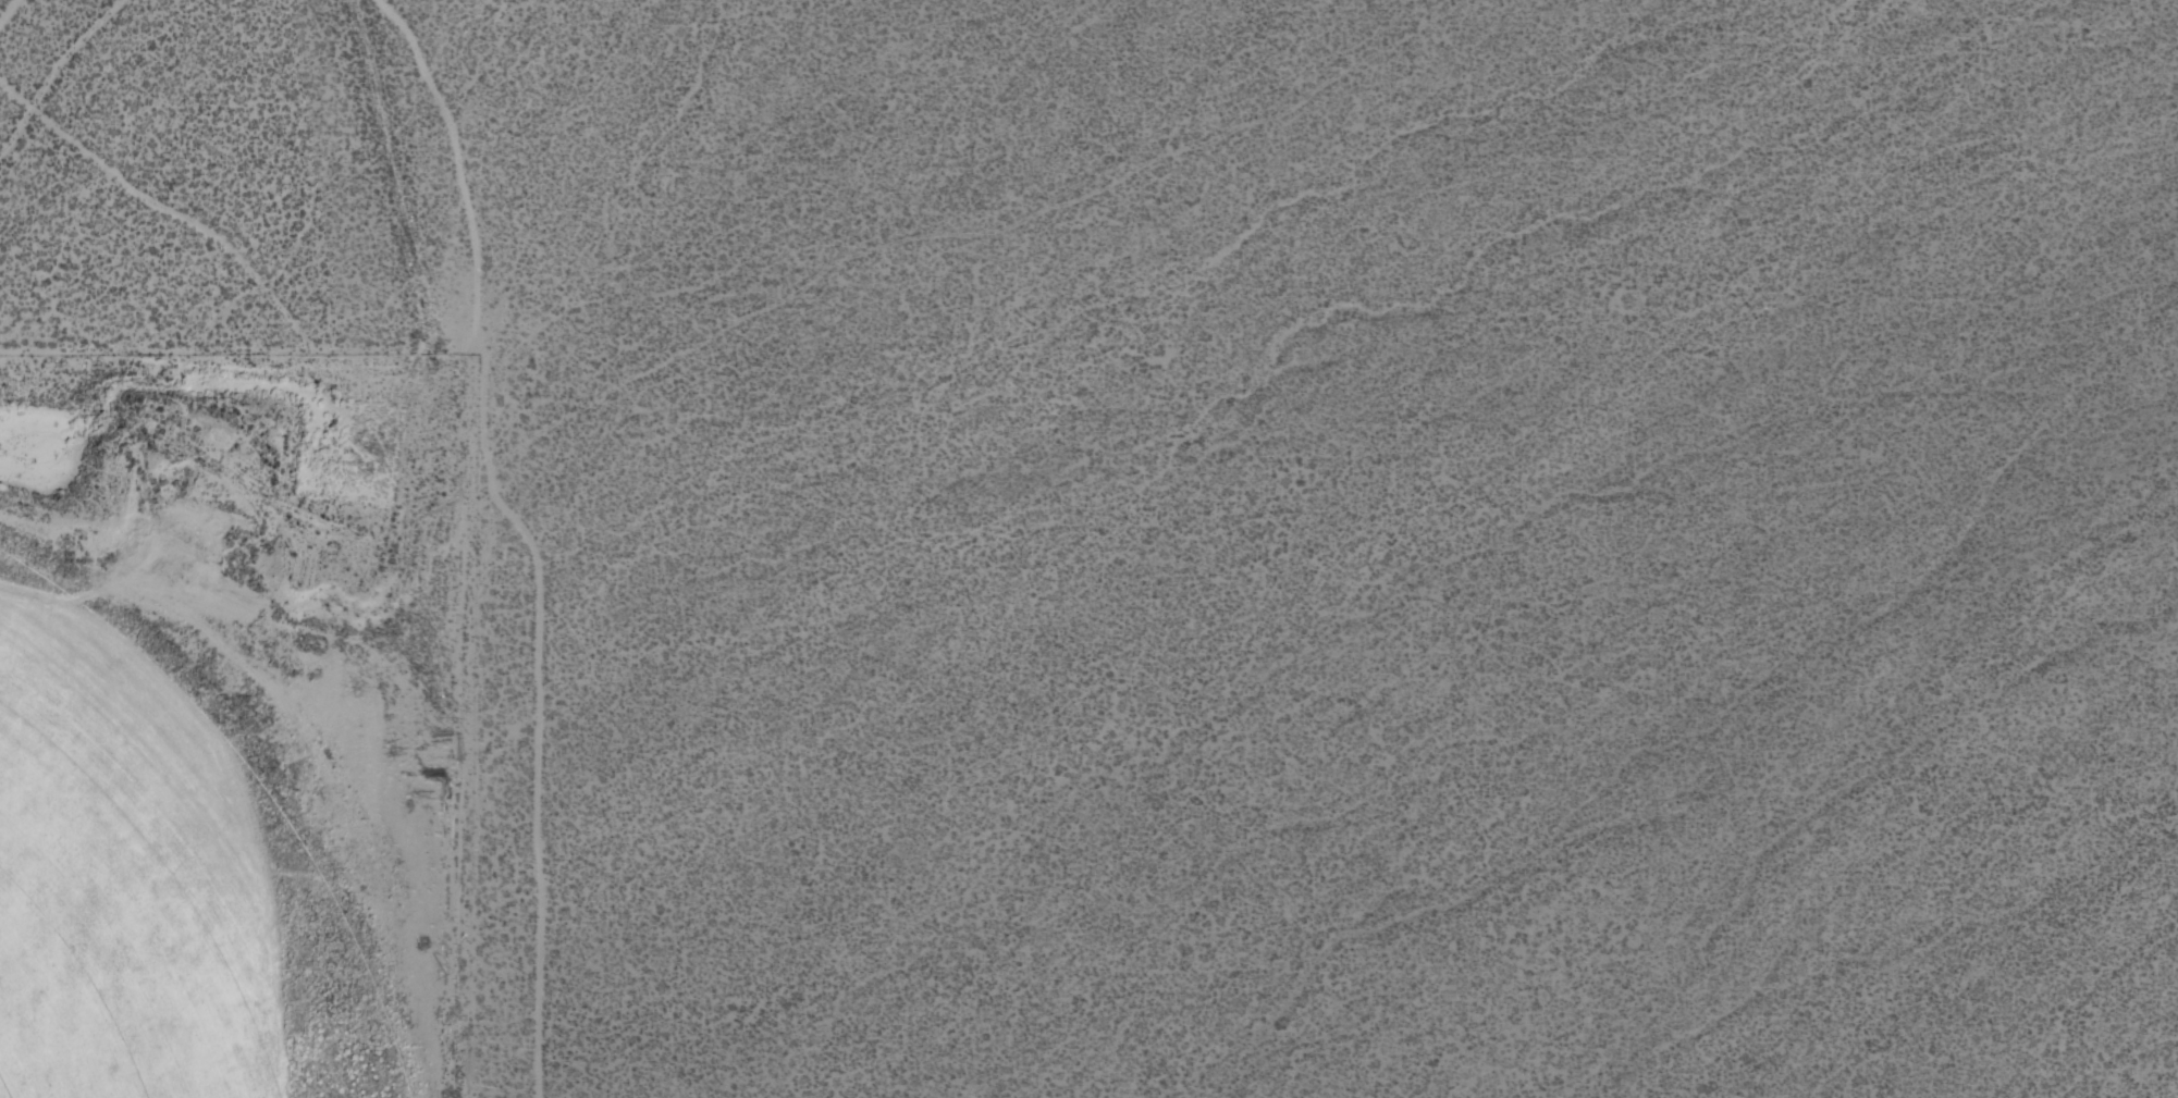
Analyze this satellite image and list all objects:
road: (10, 14)
road: (53, 75)
road: (168, 206)
road: (974, 233)
road: (518, 532)
road: (455, 778)
crop: (167, 878)

